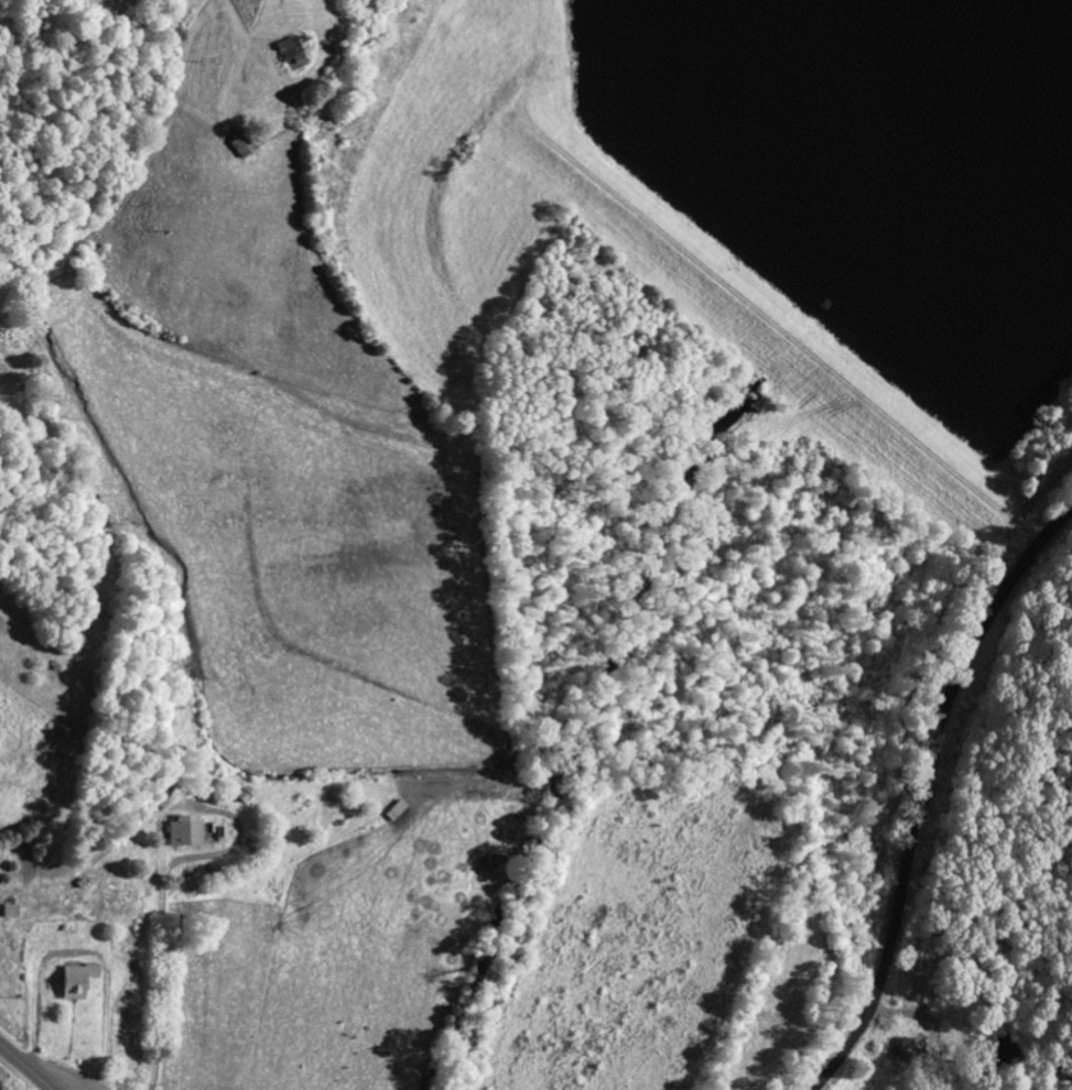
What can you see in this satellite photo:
building: (290, 51)
building: (242, 145)
road: (925, 791)
building: (187, 830)
building: (196, 881)
building: (78, 979)
building: (912, 1049)
road: (24, 1067)

